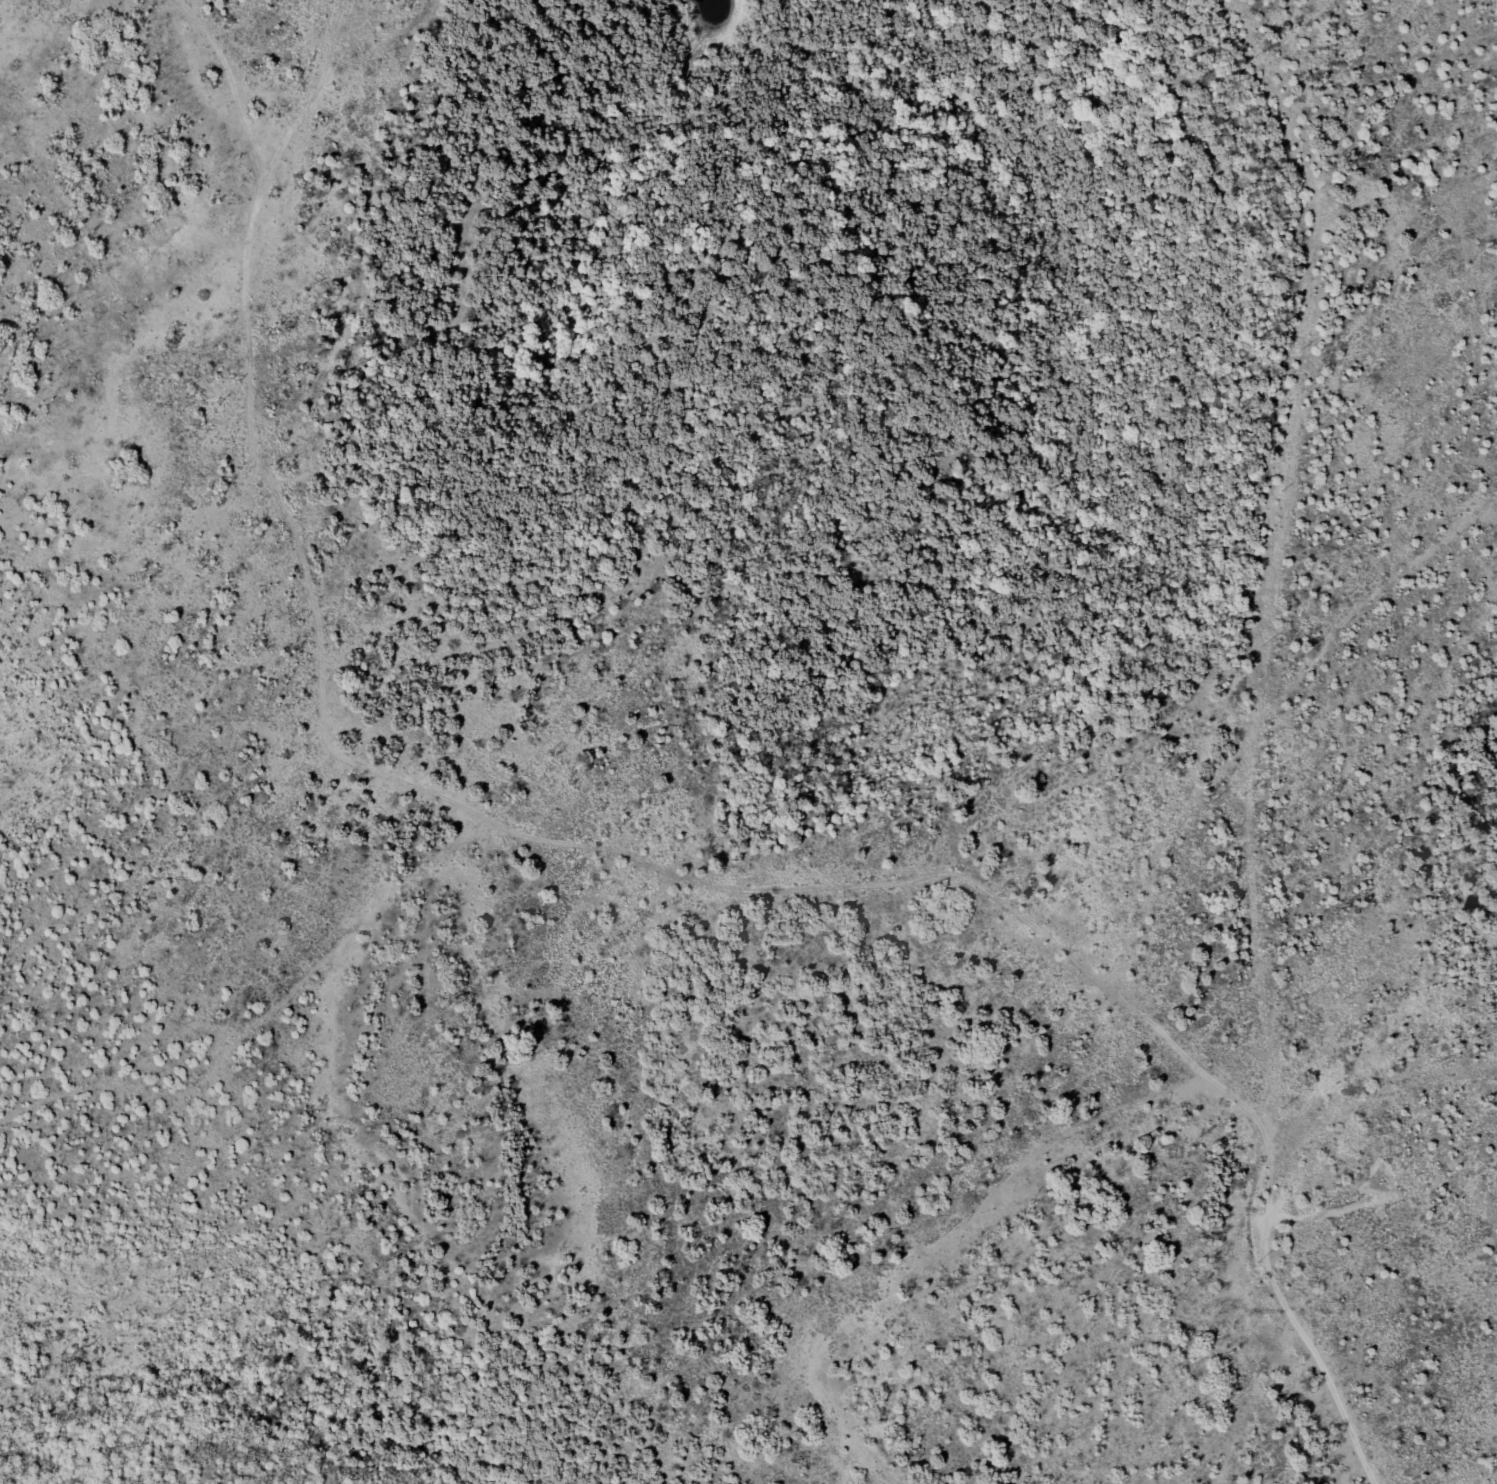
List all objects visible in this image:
park: (748, 742)
road: (1266, 1203)

